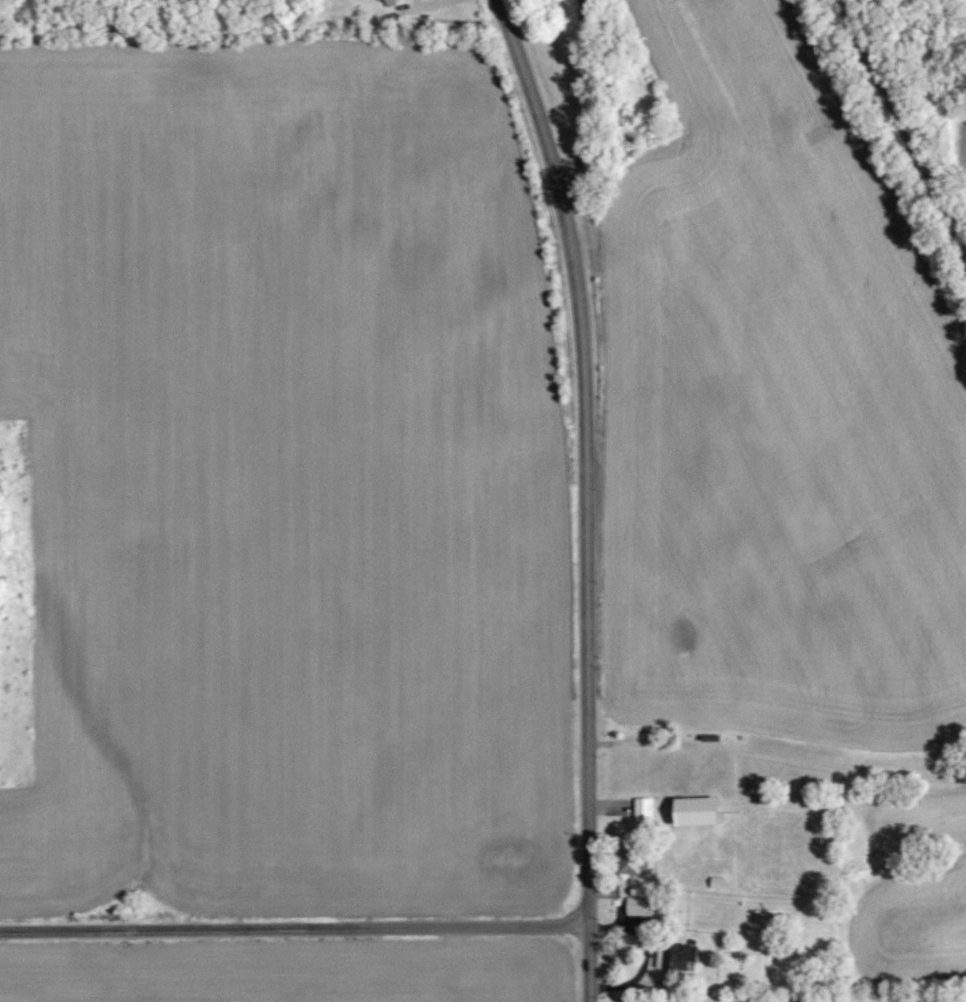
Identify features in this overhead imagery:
building: (390, 2)
road: (501, 15)
road: (580, 94)
road: (900, 130)
road: (584, 510)
road: (599, 741)
road: (789, 754)
building: (642, 808)
building: (696, 811)
building: (627, 855)
building: (638, 906)
road: (294, 928)
building: (676, 957)

